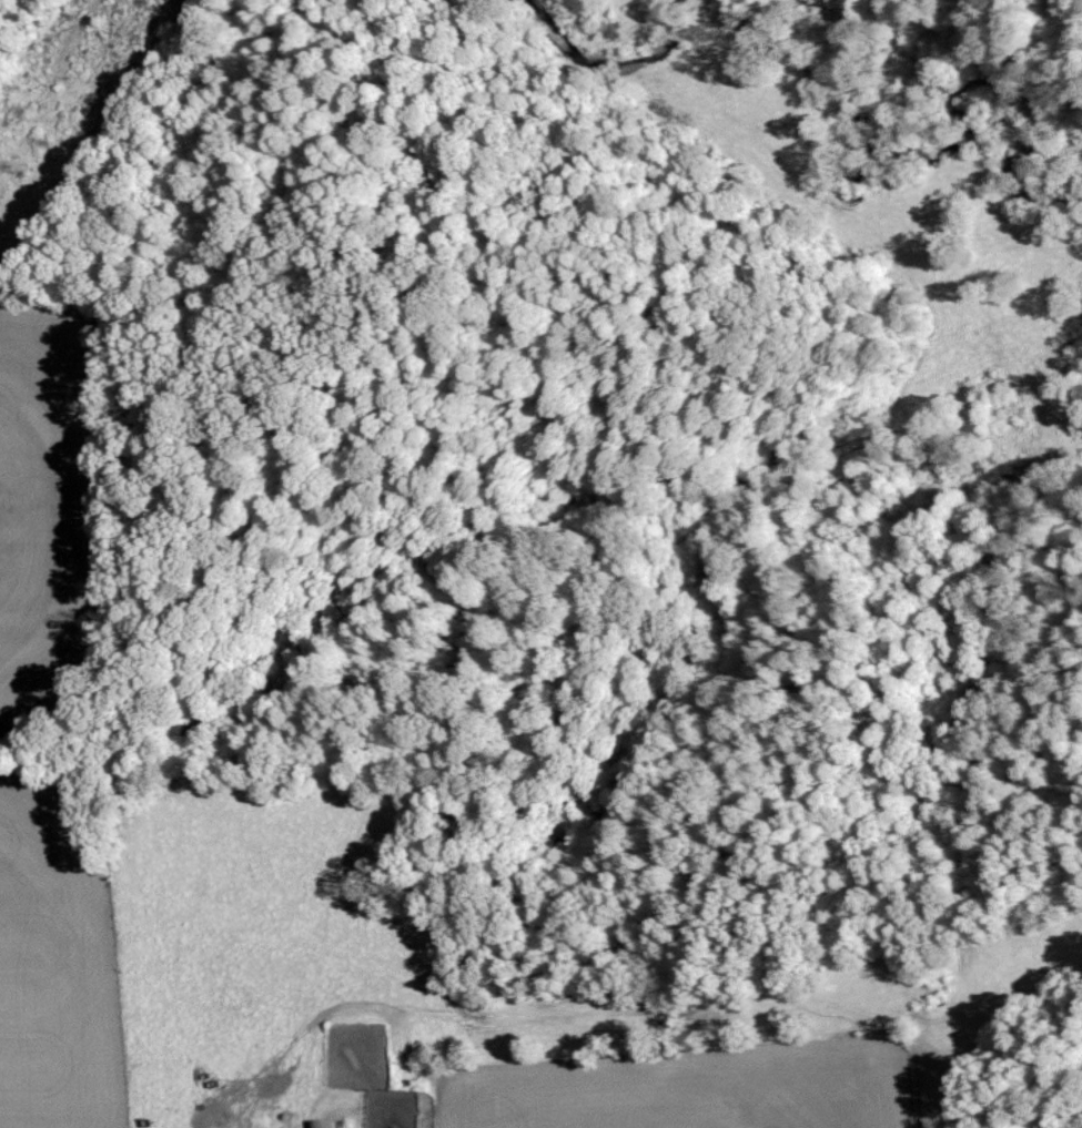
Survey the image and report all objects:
building: (324, 1124)

